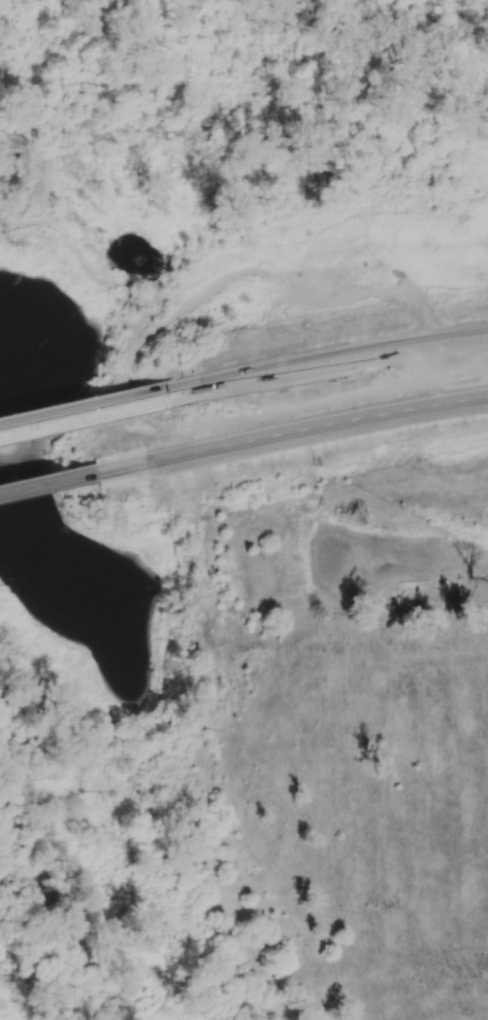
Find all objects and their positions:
road: (326, 363)
road: (82, 413)
road: (290, 432)
road: (47, 483)

